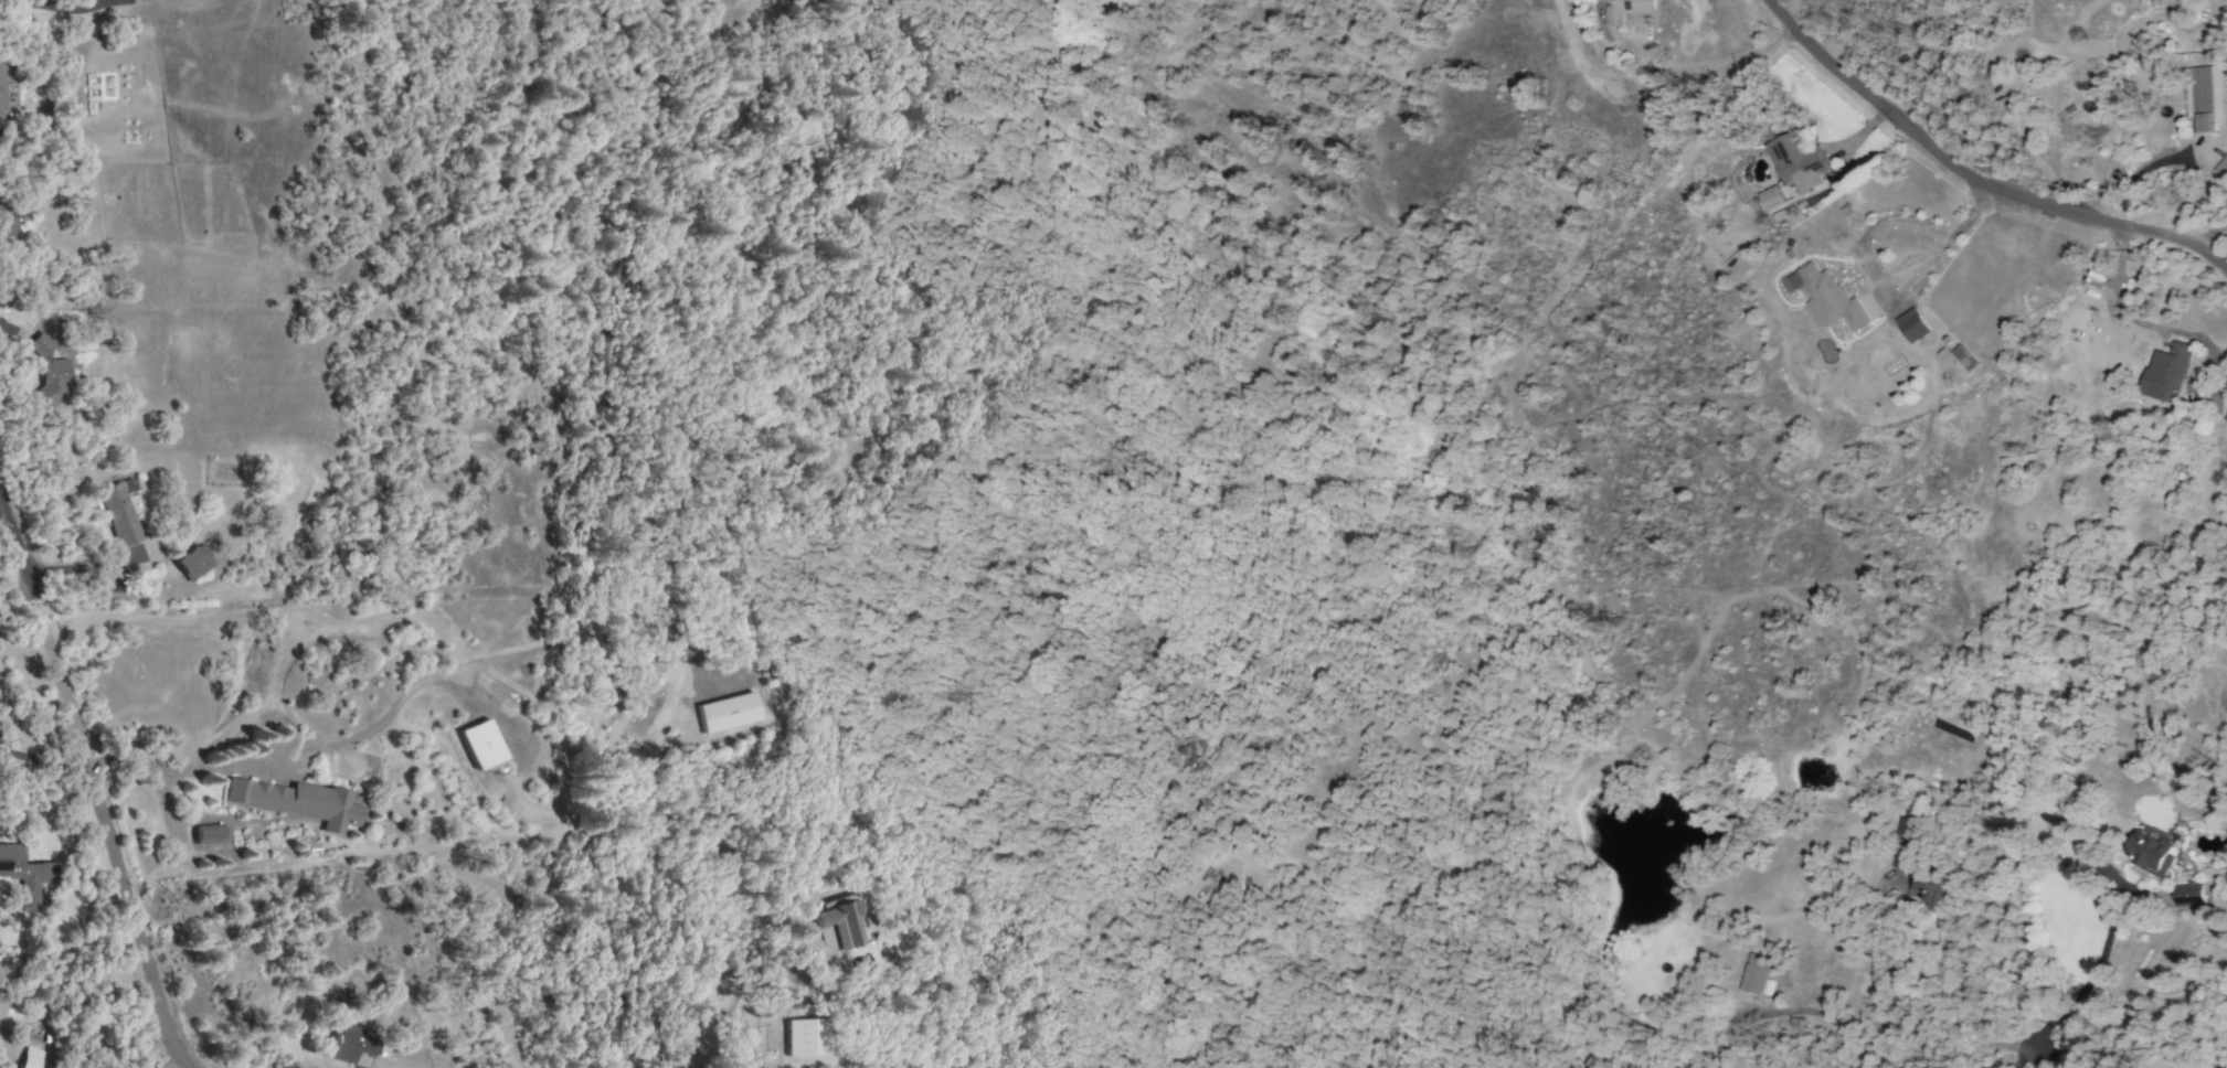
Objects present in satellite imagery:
building: (1624, 10)
building: (1, 90)
building: (2203, 98)
road: (2125, 111)
building: (1797, 162)
building: (2221, 167)
road: (1970, 181)
building: (1771, 197)
building: (7, 225)
road: (2207, 232)
road: (1884, 290)
building: (1831, 299)
building: (1911, 325)
building: (1963, 357)
building: (49, 372)
building: (2166, 373)
building: (118, 514)
road: (15, 543)
building: (191, 563)
road: (305, 611)
road: (161, 619)
road: (310, 638)
building: (727, 713)
road: (287, 727)
building: (481, 744)
road: (293, 759)
road: (43, 761)
building: (296, 802)
building: (1910, 827)
road: (105, 830)
building: (206, 834)
building: (2151, 851)
building: (23, 876)
building: (1934, 889)
building: (2186, 895)
building: (840, 923)
road: (1873, 944)
building: (1753, 974)
road: (2083, 981)
road: (720, 1006)
road: (1830, 1014)
building: (806, 1037)
building: (348, 1043)
building: (29, 1058)
road: (2030, 1060)

